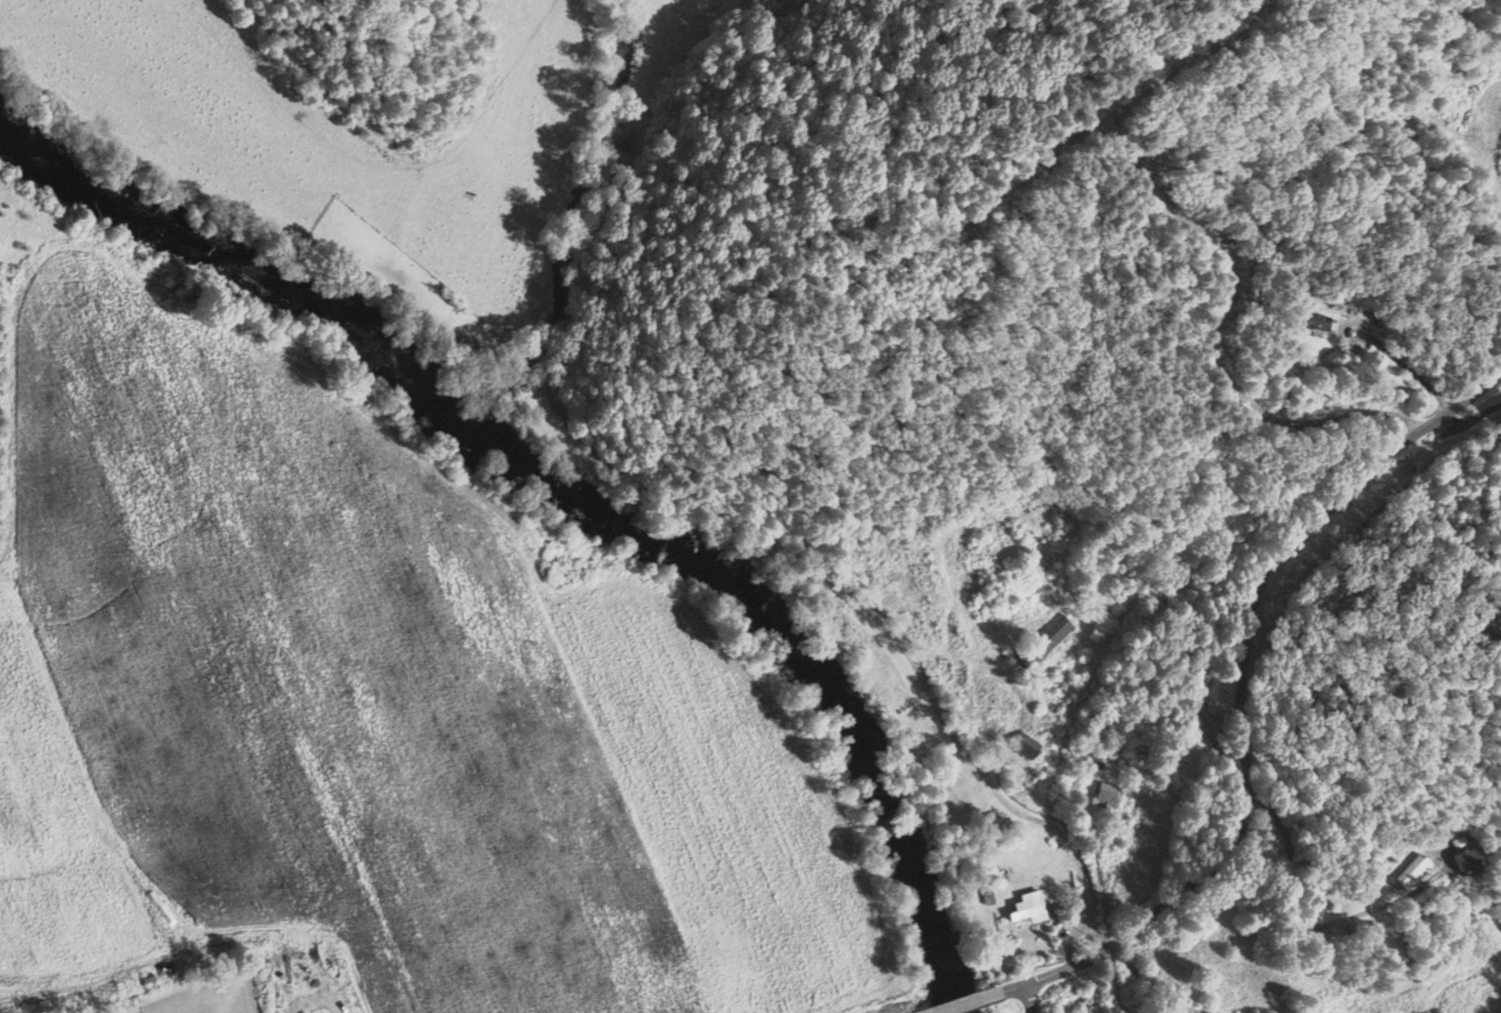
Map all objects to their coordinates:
river: (237, 261)
building: (1316, 322)
building: (1492, 619)
building: (1047, 639)
river: (796, 647)
road: (1249, 674)
building: (1028, 746)
building: (1105, 794)
building: (1466, 859)
building: (1413, 871)
building: (1030, 907)
road: (974, 995)
road: (1029, 996)

